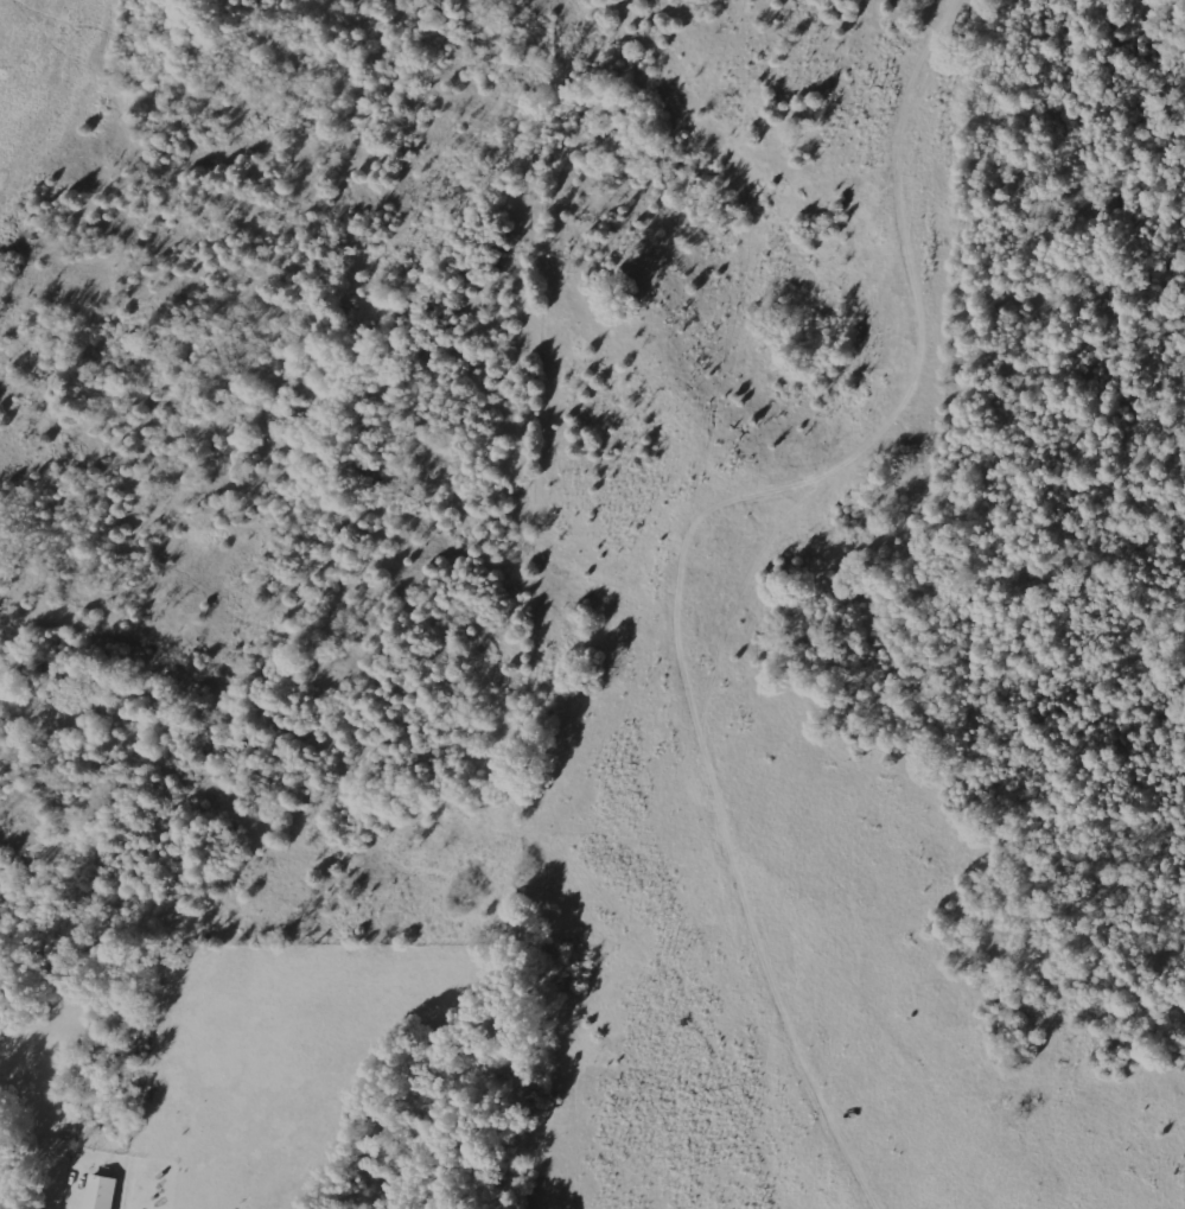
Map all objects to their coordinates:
building: (104, 1191)

